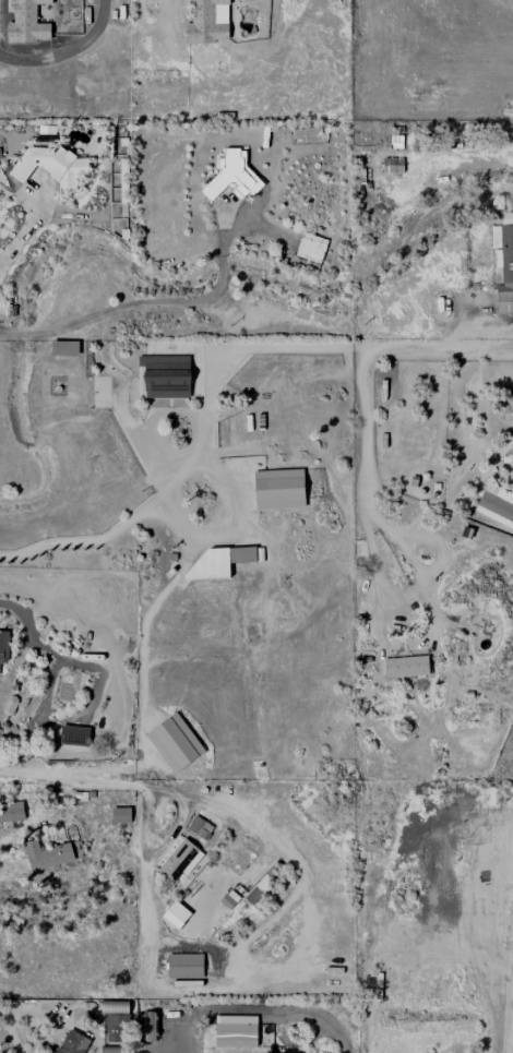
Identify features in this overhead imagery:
building: (207, 21)
building: (27, 23)
building: (51, 165)
building: (392, 165)
building: (234, 177)
road: (21, 235)
building: (311, 247)
building: (503, 253)
road: (167, 298)
building: (504, 302)
building: (64, 347)
road: (306, 347)
road: (441, 347)
building: (166, 375)
road: (154, 419)
road: (365, 471)
building: (279, 488)
road: (157, 498)
building: (496, 504)
building: (242, 553)
building: (211, 564)
building: (3, 646)
building: (406, 666)
road: (50, 677)
building: (74, 735)
building: (175, 742)
road: (146, 787)
building: (11, 811)
building: (120, 815)
building: (200, 827)
road: (159, 841)
building: (47, 854)
building: (180, 859)
building: (259, 887)
building: (230, 898)
building: (176, 913)
road: (202, 944)
building: (184, 965)
building: (115, 1006)
road: (13, 1009)
road: (259, 1010)
building: (148, 1025)
building: (117, 1027)
building: (236, 1030)
road: (295, 1041)
building: (72, 1042)
building: (114, 1049)

